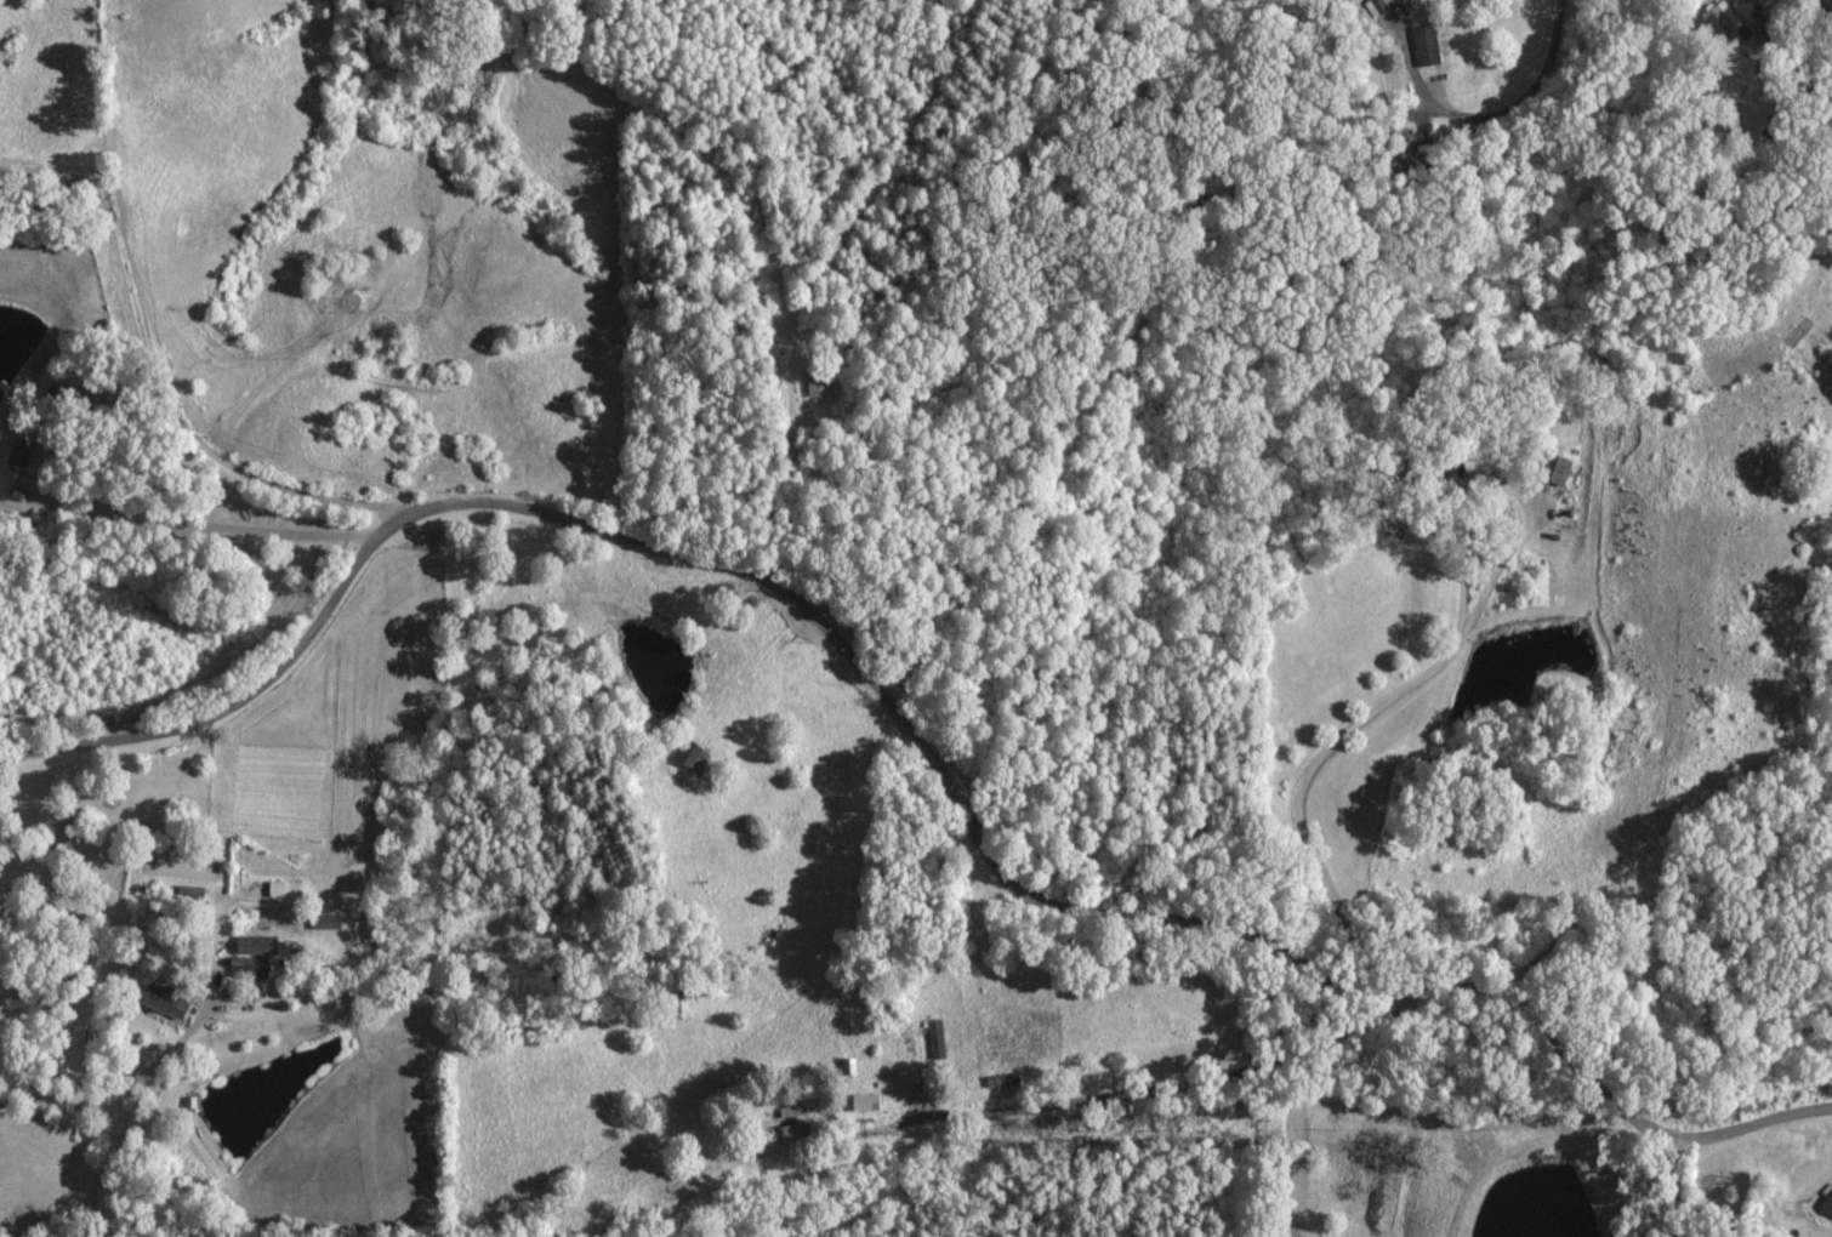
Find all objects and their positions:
road: (1817, 13)
building: (1728, 22)
building: (1422, 45)
road: (153, 381)
building: (15, 457)
building: (1552, 468)
road: (217, 523)
road: (749, 577)
road: (1343, 730)
building: (688, 756)
building: (281, 888)
building: (251, 945)
building: (160, 1001)
road: (1404, 1008)
building: (780, 1121)
road: (1673, 1185)
building: (1827, 1199)

